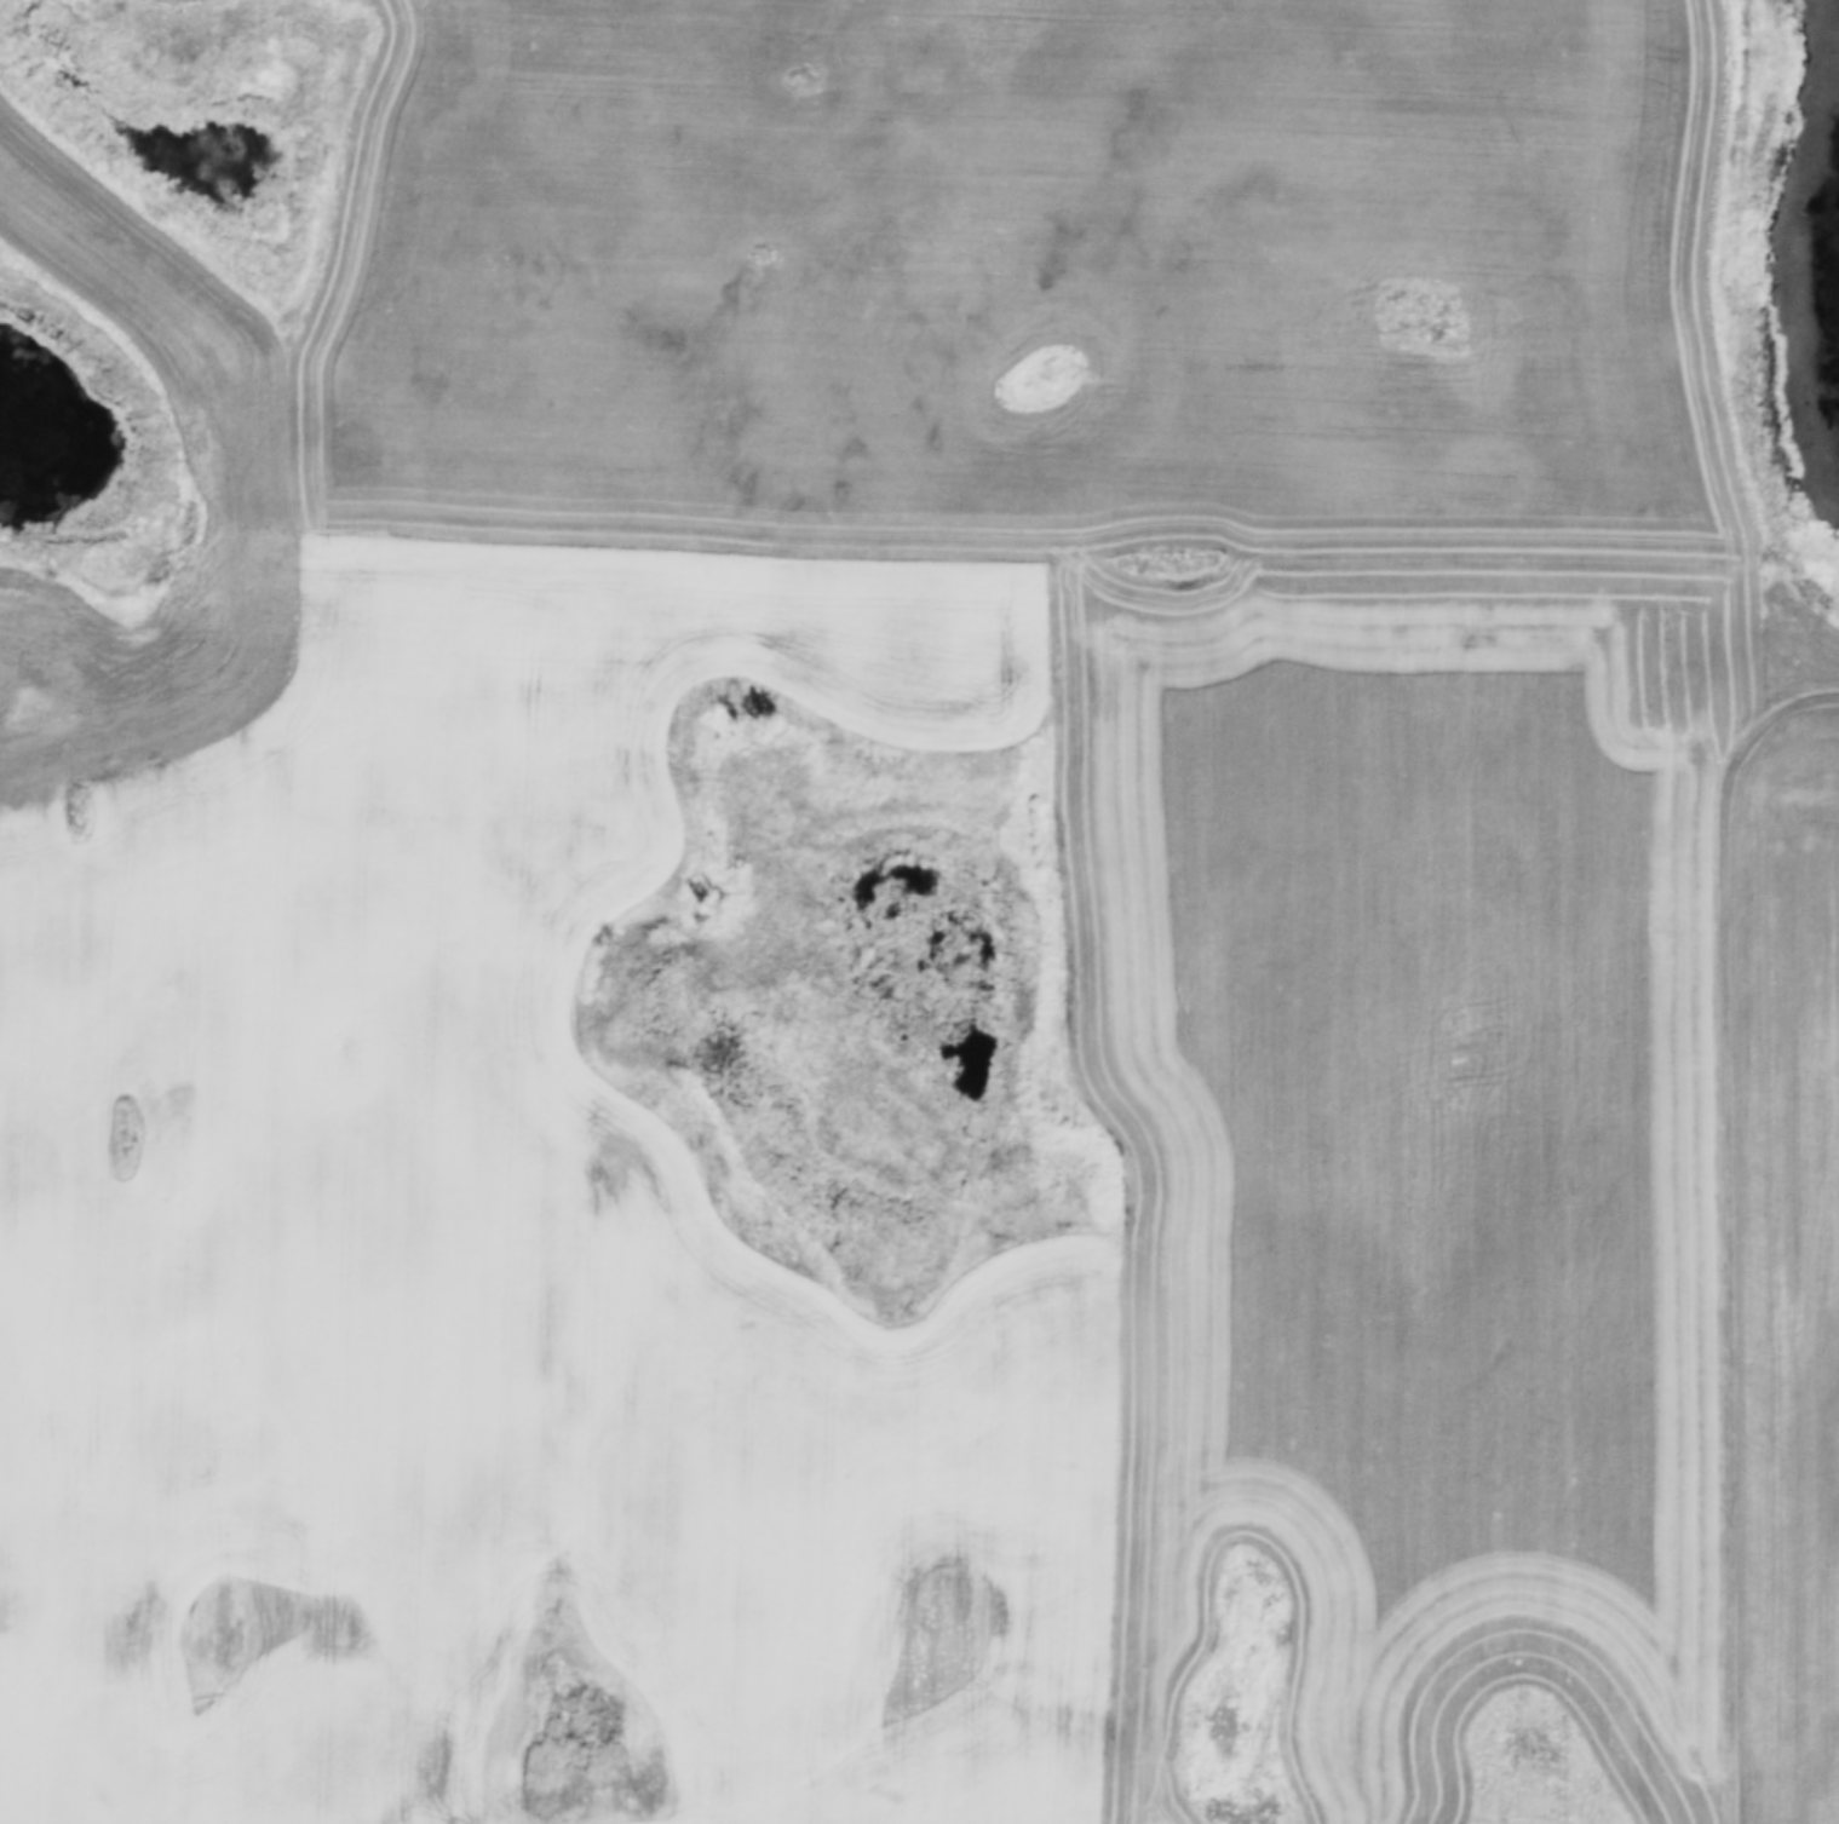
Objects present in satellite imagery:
road: (1730, 1178)

